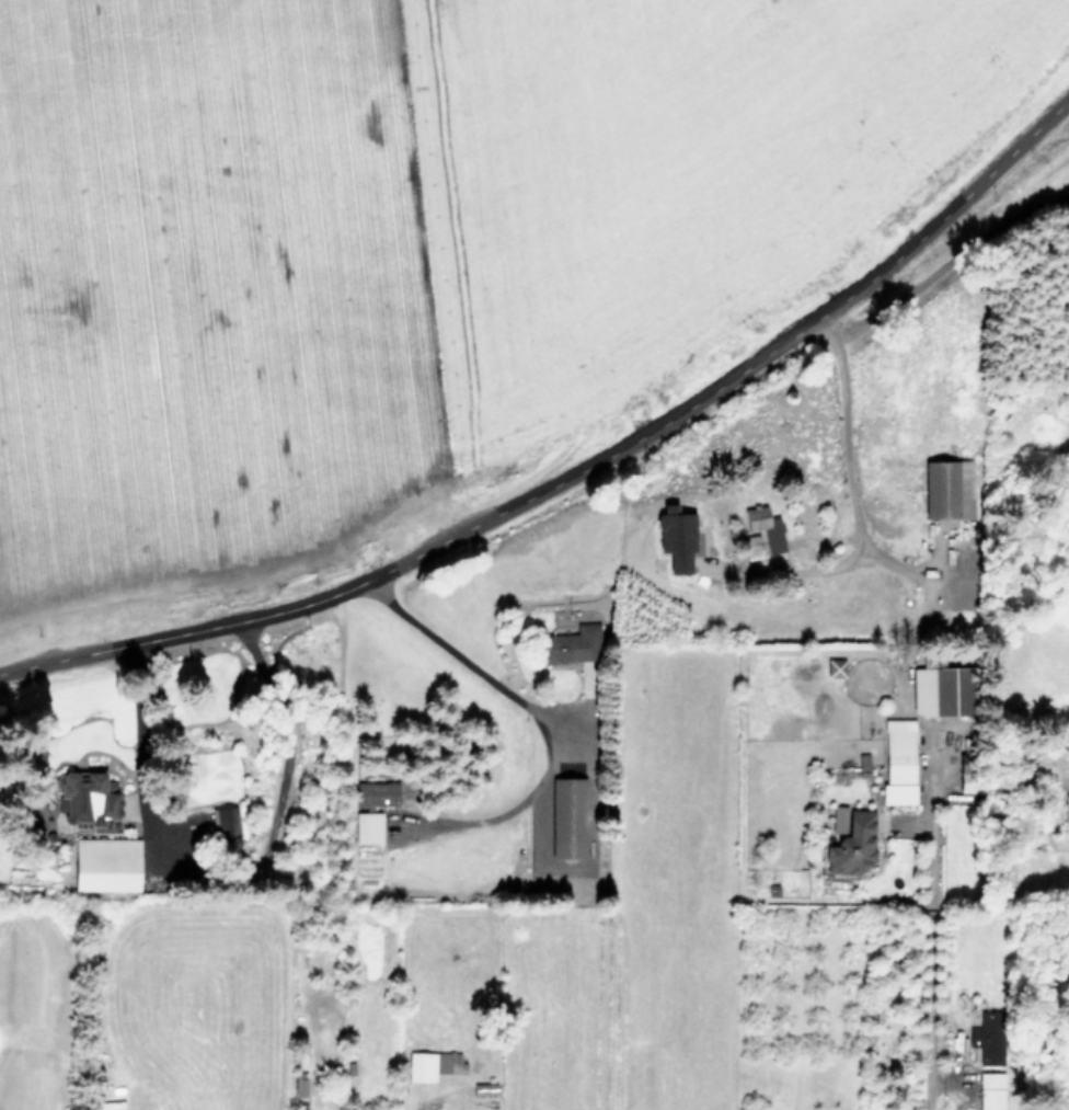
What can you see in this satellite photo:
crop: (386, 226)
road: (936, 276)
road: (579, 470)
building: (947, 489)
road: (848, 501)
building: (765, 527)
building: (676, 537)
building: (751, 547)
building: (571, 644)
building: (942, 689)
road: (536, 710)
building: (898, 760)
building: (863, 764)
building: (376, 793)
building: (90, 801)
building: (1066, 814)
building: (567, 817)
building: (226, 822)
building: (368, 827)
building: (850, 840)
building: (106, 863)
road: (233, 881)
road: (927, 951)
building: (987, 1039)
building: (433, 1065)
building: (990, 1090)

